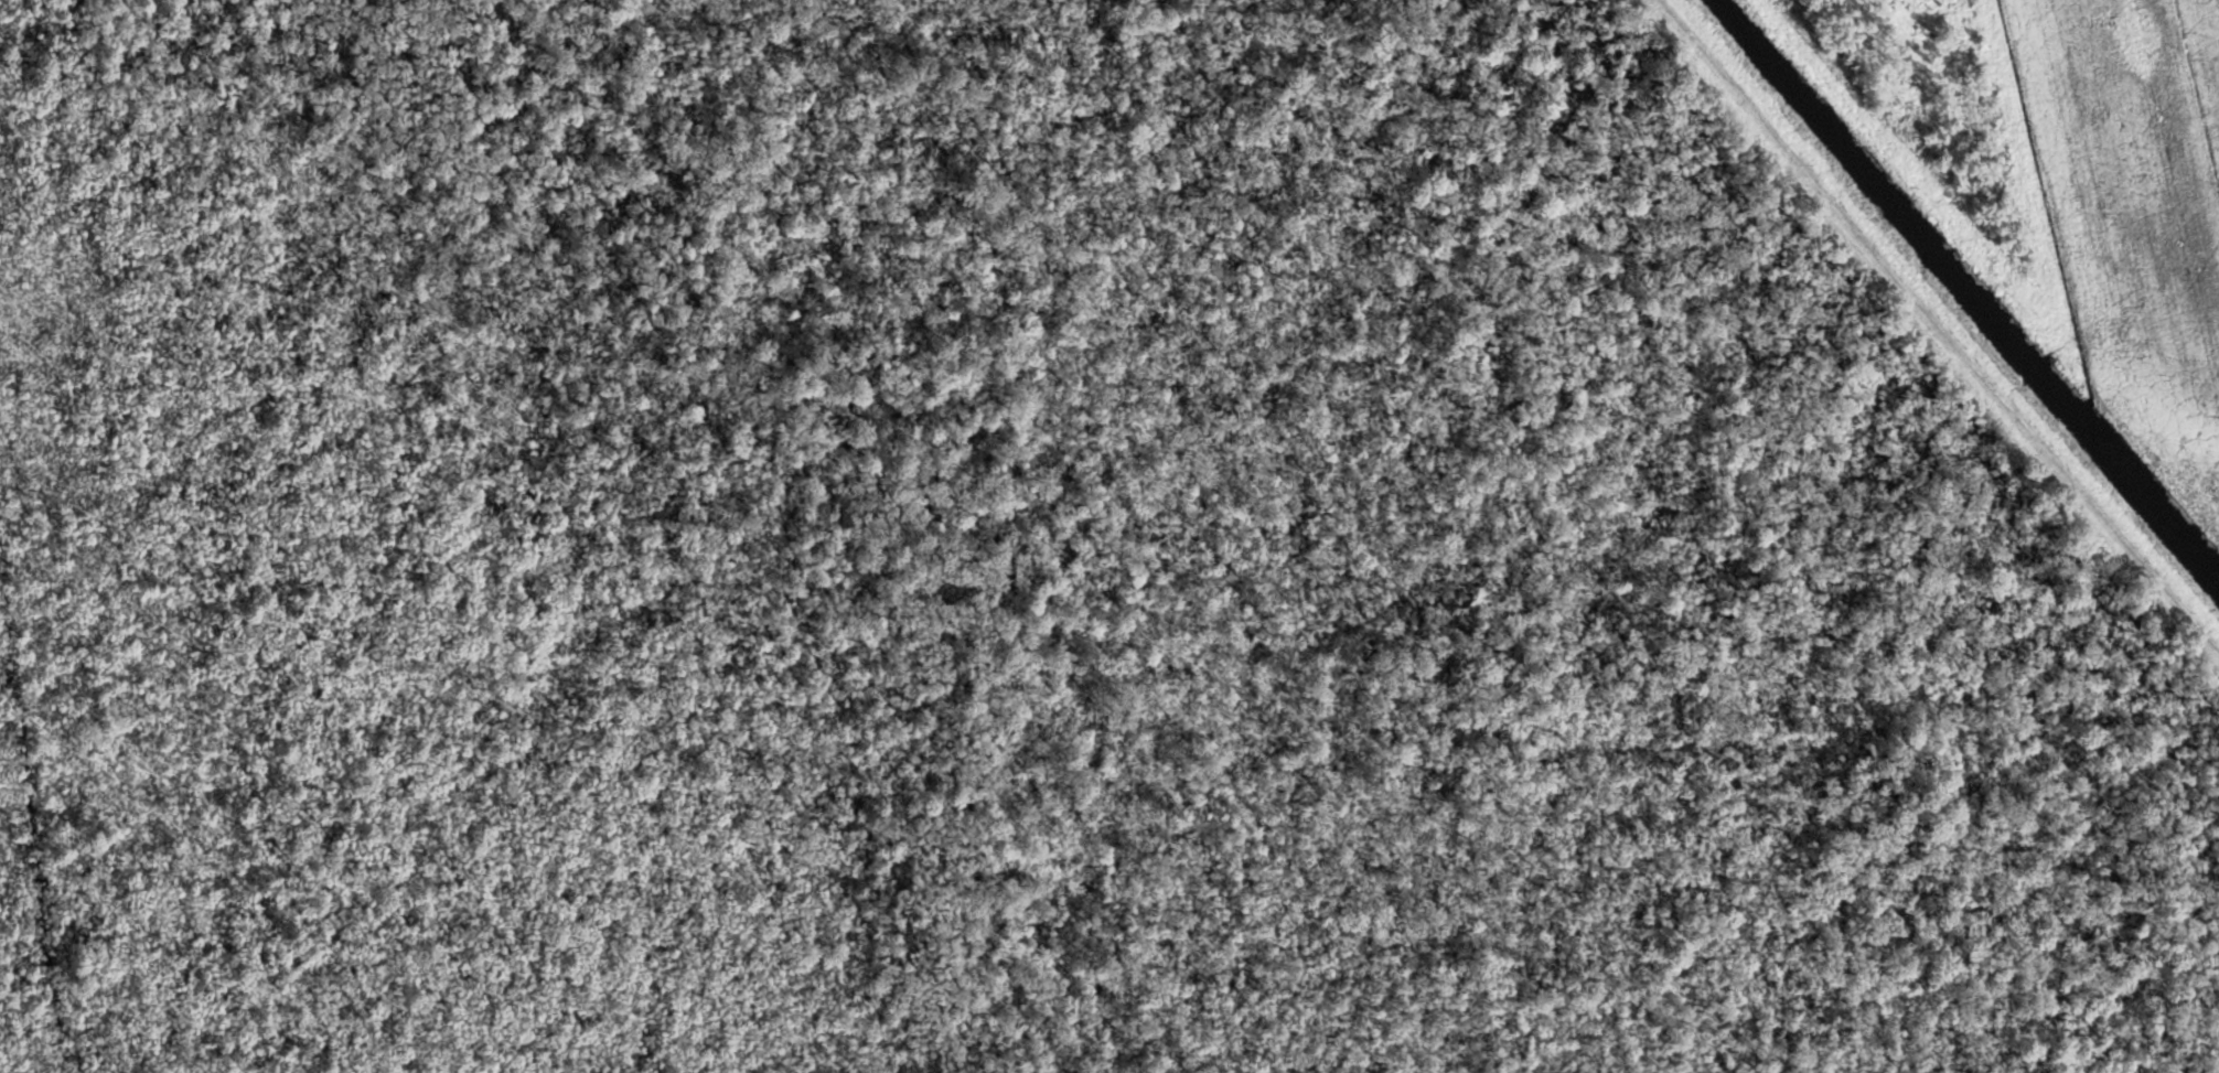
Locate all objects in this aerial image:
crop: (2136, 213)
road: (1947, 294)

